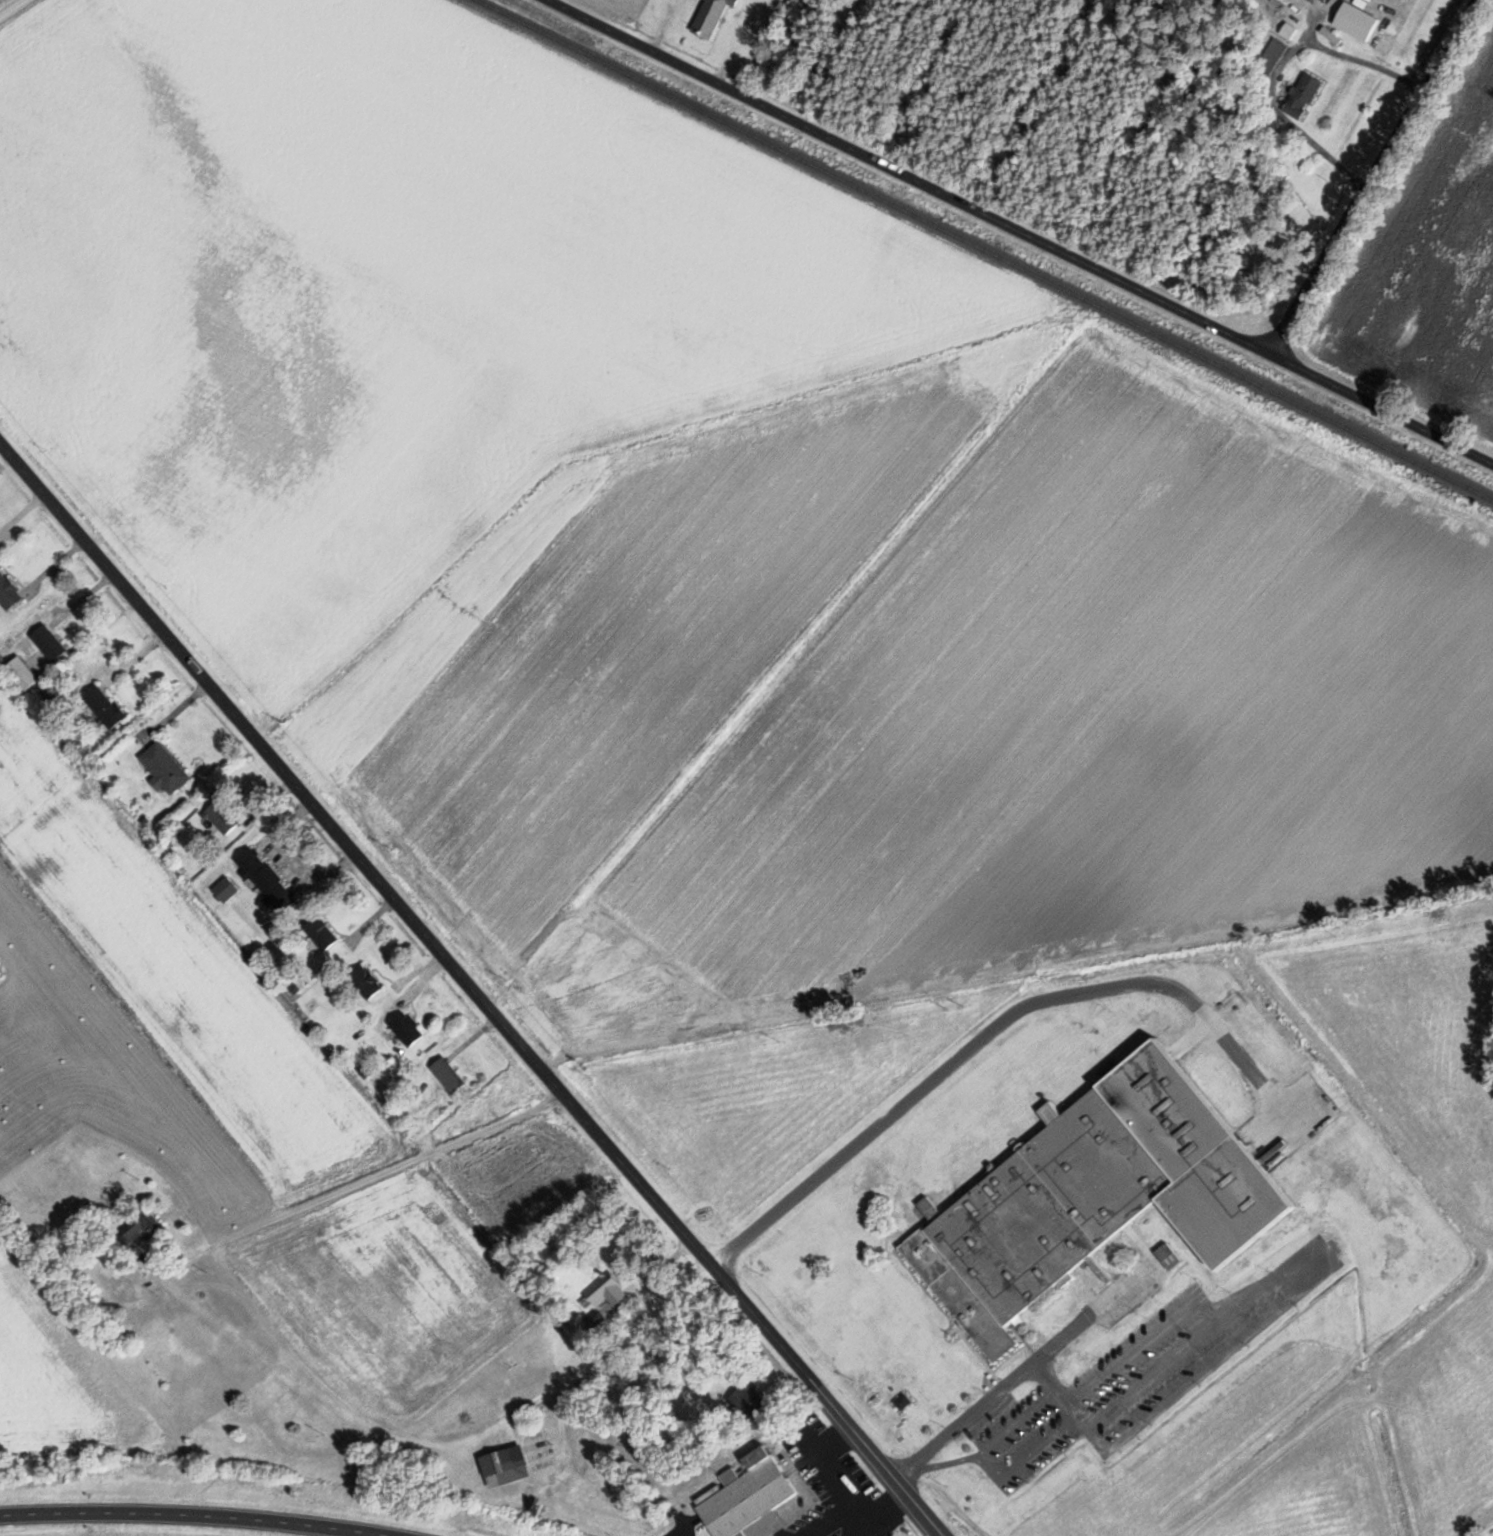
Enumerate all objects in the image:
building: (1322, 0)
road: (12, 9)
building: (710, 18)
building: (1368, 22)
building: (1302, 95)
road: (1377, 178)
road: (1016, 234)
railway: (985, 250)
building: (8, 591)
building: (49, 642)
building: (23, 672)
building: (104, 706)
building: (164, 768)
building: (220, 817)
building: (265, 880)
building: (226, 888)
building: (321, 931)
building: (365, 981)
road: (473, 991)
building: (406, 1028)
building: (448, 1074)
building: (1097, 1194)
building: (144, 1225)
wastewater plant: (1035, 1229)
building: (607, 1289)
road: (545, 1311)
building: (745, 1401)
building: (506, 1465)
building: (748, 1499)
road: (43, 1513)
road: (239, 1517)

